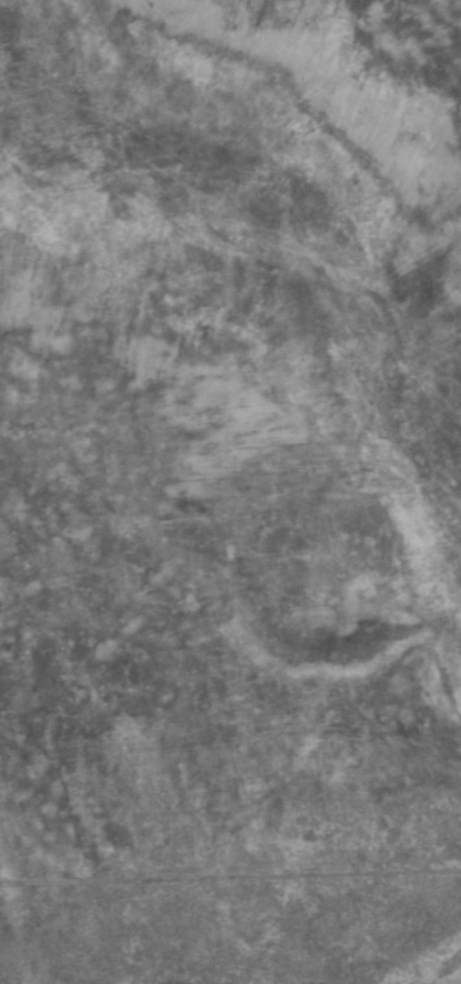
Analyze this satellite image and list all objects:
road: (230, 877)

